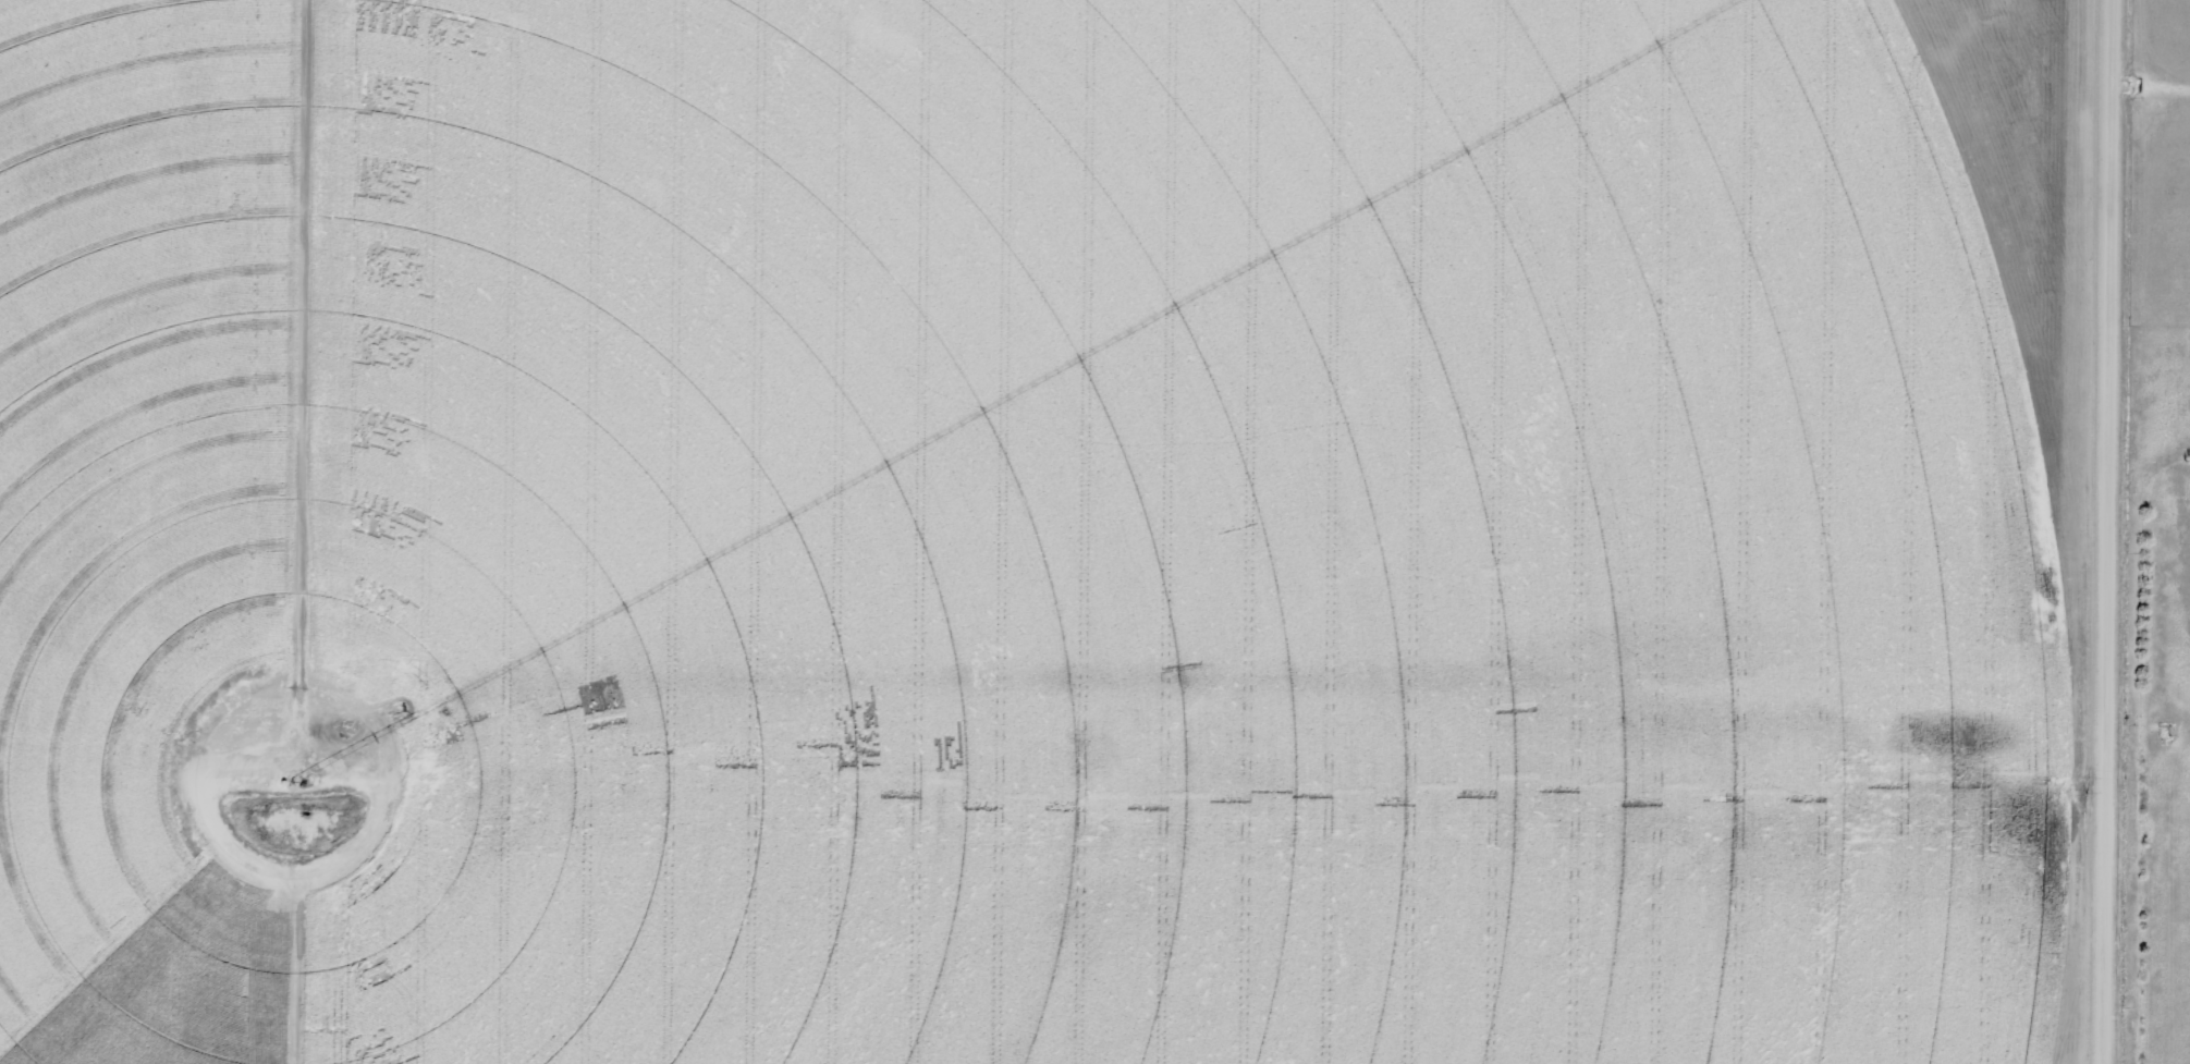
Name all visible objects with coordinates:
road: (2111, 531)

